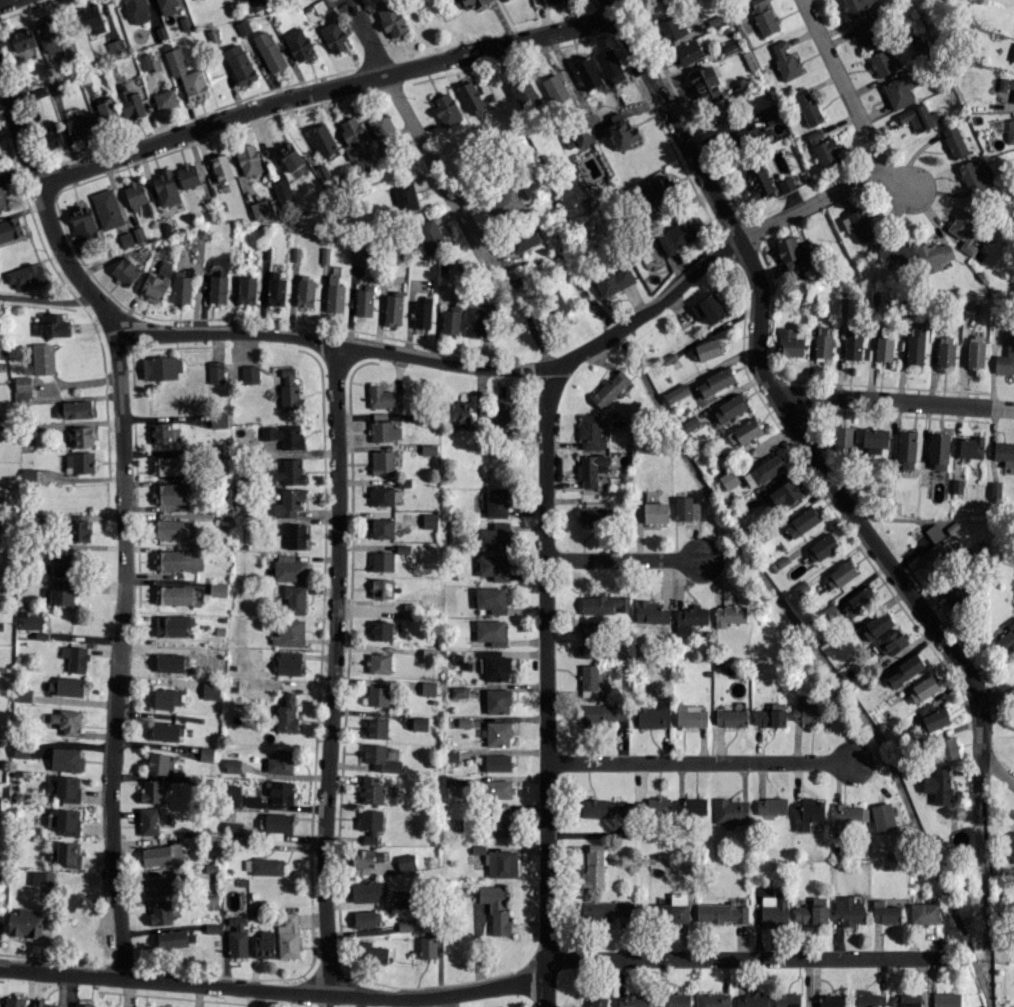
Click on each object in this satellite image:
road: (4, 1)
building: (550, 1)
building: (472, 3)
building: (166, 7)
building: (854, 7)
building: (137, 11)
building: (763, 16)
building: (91, 18)
building: (391, 21)
building: (242, 27)
building: (671, 27)
building: (869, 33)
building: (333, 37)
building: (53, 38)
building: (22, 39)
building: (298, 45)
road: (369, 46)
building: (269, 51)
building: (688, 52)
building: (1012, 56)
building: (784, 61)
building: (883, 63)
building: (239, 64)
building: (610, 66)
building: (185, 74)
building: (705, 82)
building: (1007, 85)
road: (842, 87)
road: (322, 88)
building: (898, 91)
building: (469, 96)
building: (164, 99)
building: (129, 103)
building: (807, 106)
building: (446, 109)
building: (106, 110)
building: (770, 113)
building: (722, 115)
building: (919, 118)
building: (79, 126)
building: (382, 129)
building: (1008, 130)
building: (622, 132)
building: (814, 136)
building: (741, 137)
building: (52, 138)
building: (577, 138)
building: (322, 140)
building: (354, 141)
building: (954, 141)
building: (826, 153)
building: (248, 160)
building: (291, 160)
road: (436, 167)
building: (220, 168)
building: (975, 175)
building: (187, 176)
building: (759, 182)
building: (786, 184)
road: (897, 184)
building: (165, 188)
building: (281, 191)
building: (656, 192)
building: (135, 195)
building: (405, 196)
building: (2, 200)
building: (504, 204)
building: (262, 208)
building: (106, 209)
building: (82, 221)
building: (863, 224)
building: (10, 229)
building: (963, 229)
building: (137, 234)
building: (429, 235)
building: (677, 237)
building: (524, 239)
building: (892, 252)
building: (789, 253)
building: (933, 255)
building: (125, 271)
building: (25, 276)
building: (612, 281)
building: (157, 282)
building: (181, 288)
building: (217, 288)
building: (275, 289)
building: (246, 290)
building: (305, 291)
building: (334, 295)
road: (48, 299)
building: (363, 301)
building: (554, 304)
building: (708, 306)
building: (393, 309)
building: (422, 313)
building: (450, 320)
building: (474, 321)
building: (53, 325)
road: (531, 329)
building: (823, 342)
building: (789, 343)
building: (852, 346)
building: (708, 349)
building: (881, 349)
building: (914, 349)
building: (945, 351)
building: (971, 354)
building: (43, 359)
building: (1004, 365)
building: (161, 368)
road: (526, 369)
road: (761, 369)
building: (215, 372)
building: (249, 374)
building: (715, 382)
building: (610, 389)
building: (289, 390)
building: (22, 391)
building: (676, 393)
building: (383, 397)
road: (896, 401)
building: (729, 408)
building: (73, 410)
building: (503, 411)
building: (459, 413)
building: (218, 420)
building: (384, 431)
building: (165, 432)
building: (591, 432)
building: (744, 432)
building: (284, 436)
building: (80, 437)
building: (842, 437)
building: (874, 440)
building: (970, 447)
building: (906, 448)
building: (938, 451)
building: (1004, 453)
building: (79, 462)
building: (382, 463)
building: (168, 465)
building: (591, 469)
building: (763, 471)
building: (288, 472)
building: (28, 475)
building: (729, 479)
building: (995, 489)
building: (169, 493)
building: (784, 493)
building: (381, 495)
building: (288, 502)
building: (495, 503)
building: (686, 509)
building: (655, 512)
road: (122, 515)
building: (596, 515)
building: (429, 520)
building: (801, 522)
building: (382, 528)
building: (172, 529)
building: (78, 531)
building: (933, 532)
building: (294, 535)
building: (494, 537)
building: (824, 546)
building: (936, 553)
road: (624, 558)
building: (178, 560)
building: (382, 561)
building: (61, 564)
building: (494, 567)
building: (289, 569)
building: (843, 573)
building: (381, 588)
building: (217, 589)
building: (61, 593)
building: (173, 595)
building: (956, 596)
building: (292, 599)
building: (490, 599)
building: (858, 601)
building: (604, 604)
building: (651, 612)
building: (729, 615)
building: (27, 619)
building: (689, 619)
building: (171, 625)
building: (876, 626)
building: (380, 630)
building: (490, 632)
building: (288, 633)
building: (1005, 641)
building: (587, 642)
building: (891, 643)
building: (428, 654)
building: (75, 658)
building: (169, 662)
building: (288, 663)
building: (378, 663)
building: (494, 665)
road: (331, 670)
building: (904, 671)
building: (588, 681)
building: (66, 686)
road: (545, 686)
building: (427, 688)
building: (922, 689)
building: (210, 690)
building: (458, 691)
building: (22, 695)
building: (377, 696)
building: (167, 698)
road: (999, 699)
building: (497, 701)
building: (601, 713)
building: (286, 714)
building: (807, 714)
building: (653, 715)
building: (770, 716)
building: (689, 717)
building: (934, 717)
building: (730, 718)
building: (66, 721)
building: (419, 723)
building: (375, 728)
building: (166, 731)
building: (497, 734)
road: (984, 736)
building: (946, 748)
building: (20, 751)
building: (205, 754)
building: (379, 758)
building: (66, 760)
road: (695, 760)
building: (280, 762)
building: (158, 763)
building: (497, 763)
building: (232, 765)
road: (1000, 773)
building: (938, 786)
building: (65, 788)
building: (498, 789)
building: (371, 790)
building: (151, 791)
building: (279, 792)
building: (231, 796)
building: (690, 806)
building: (771, 806)
building: (658, 807)
building: (605, 808)
building: (730, 812)
building: (808, 813)
building: (849, 816)
building: (882, 817)
building: (369, 819)
building: (502, 820)
building: (66, 821)
building: (148, 821)
building: (276, 822)
building: (232, 829)
building: (369, 838)
building: (1009, 846)
building: (68, 854)
building: (162, 855)
building: (366, 857)
building: (405, 862)
building: (498, 862)
building: (263, 866)
building: (593, 868)
building: (40, 878)
building: (158, 886)
building: (382, 888)
building: (364, 891)
building: (495, 908)
building: (774, 908)
building: (607, 910)
building: (671, 910)
building: (848, 911)
building: (812, 912)
building: (884, 912)
building: (161, 913)
building: (721, 913)
building: (923, 913)
building: (364, 918)
building: (24, 923)
building: (288, 937)
building: (175, 938)
building: (237, 938)
building: (263, 945)
building: (427, 947)
building: (370, 952)
road: (479, 991)
building: (867, 999)
building: (946, 999)
building: (633, 1000)
building: (673, 1000)
building: (712, 1000)
building: (751, 1000)
building: (786, 1000)
building: (831, 1000)
building: (905, 1000)
building: (596, 1001)
building: (14, 1002)
building: (41, 1003)
building: (83, 1004)

